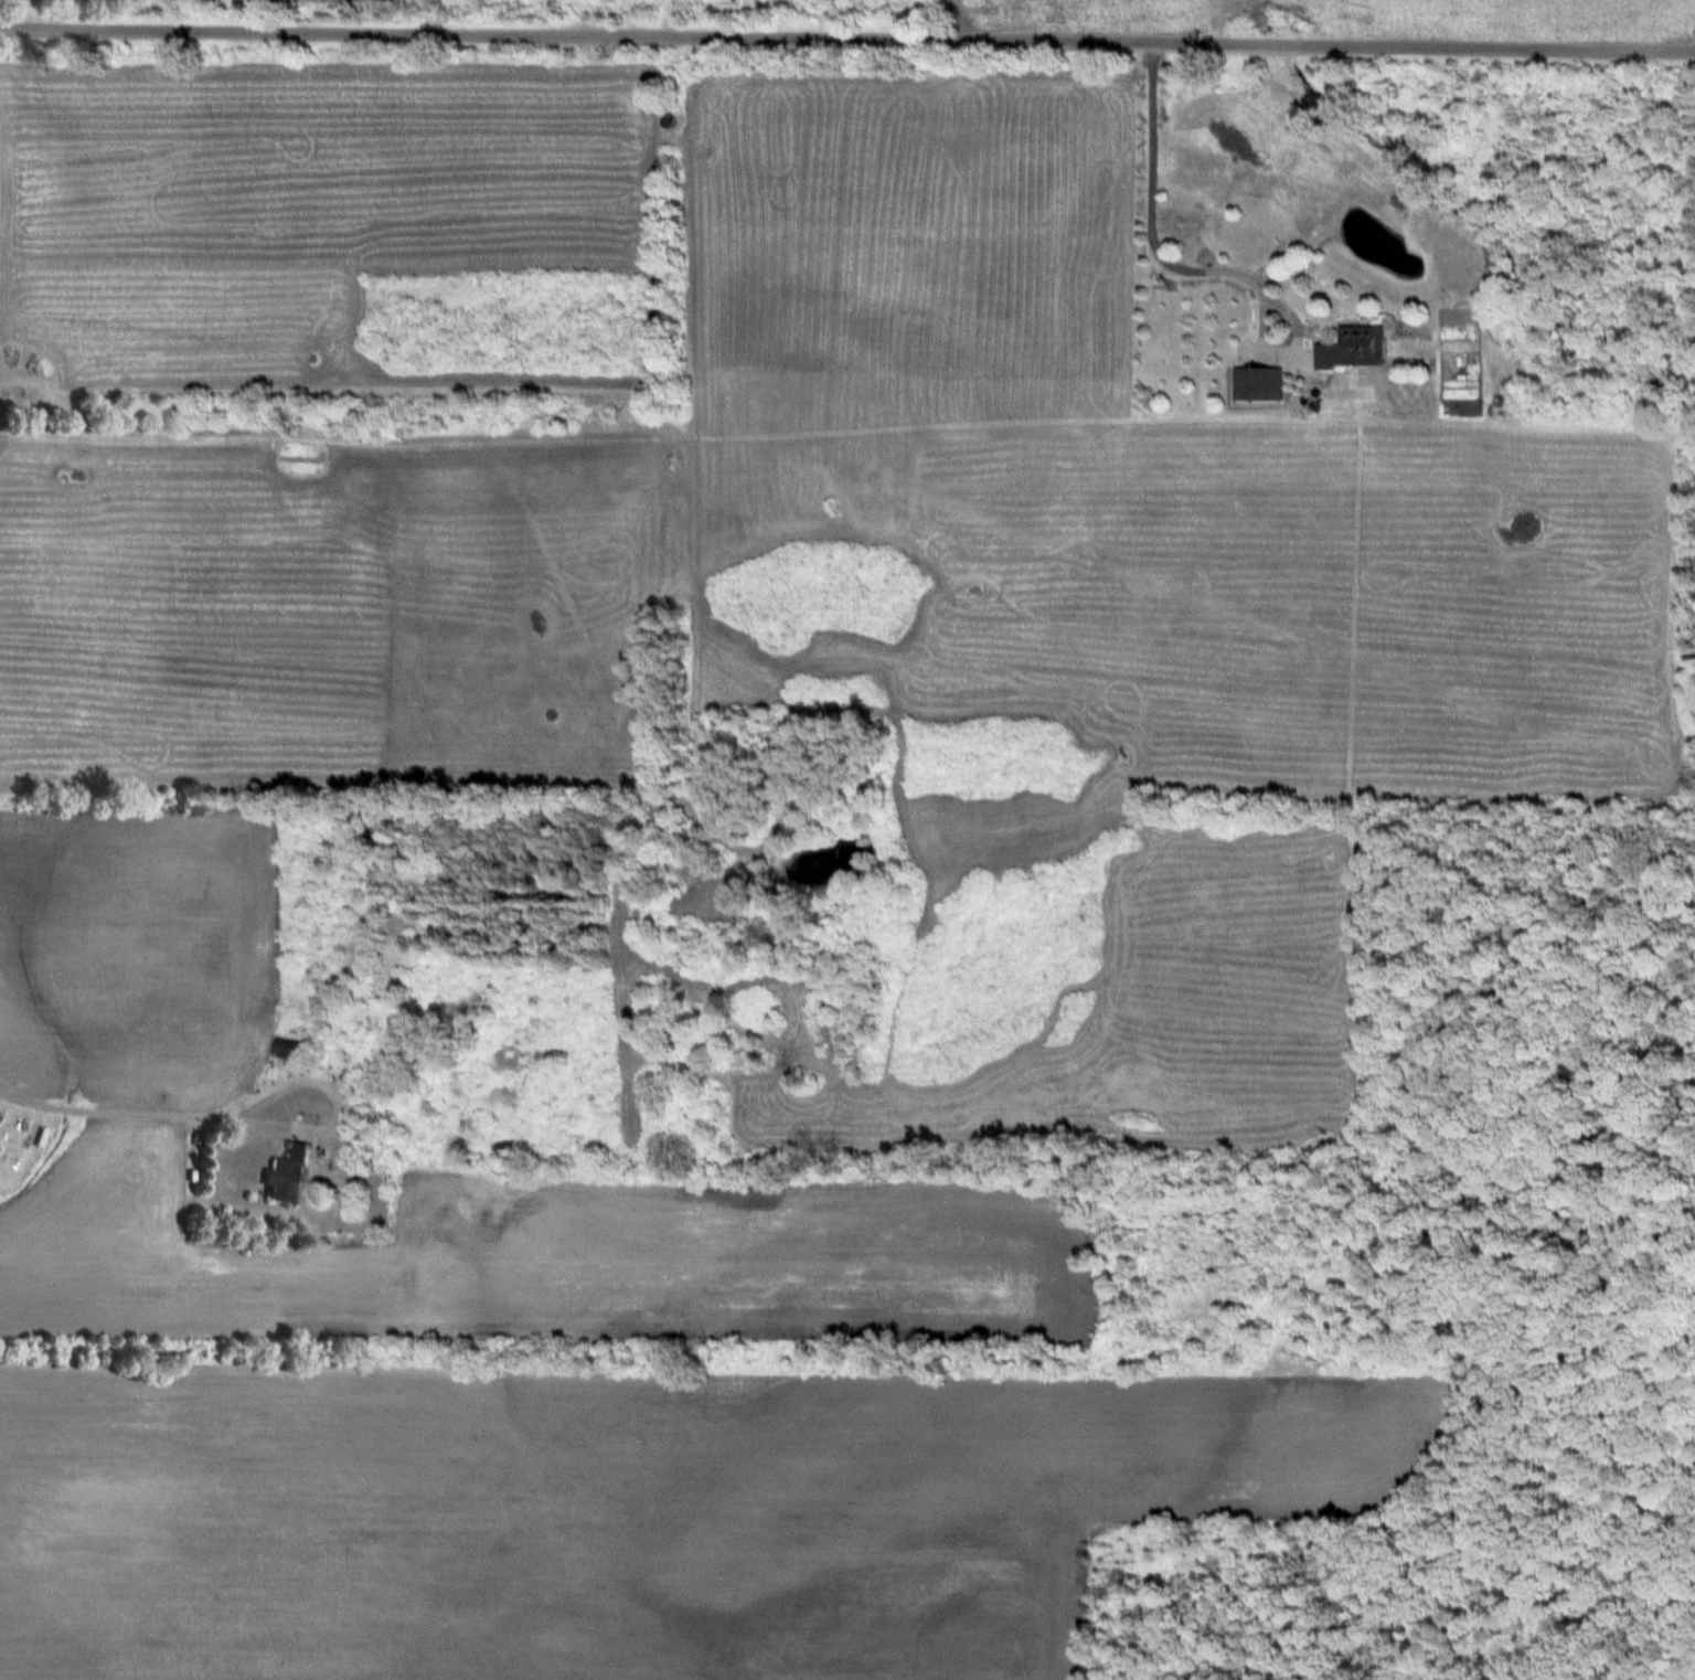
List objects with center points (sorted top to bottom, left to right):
road: (847, 38)
road: (1148, 219)
building: (1357, 349)
building: (1258, 384)
building: (290, 1050)
road: (320, 1092)
road: (87, 1100)
building: (290, 1177)

